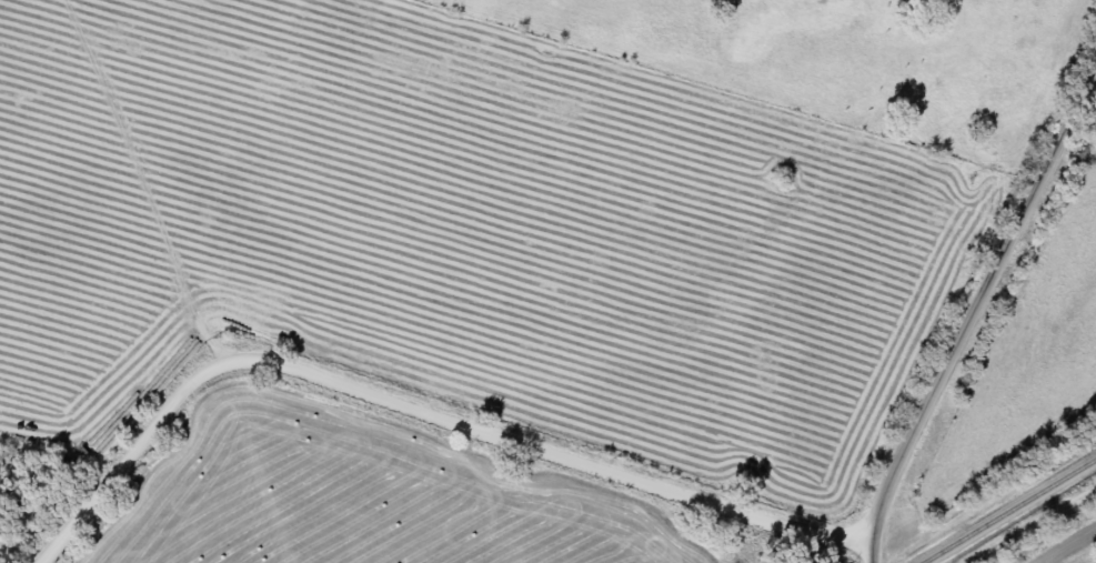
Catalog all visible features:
road: (981, 300)
road: (418, 410)
railway: (1008, 511)
road: (871, 553)

